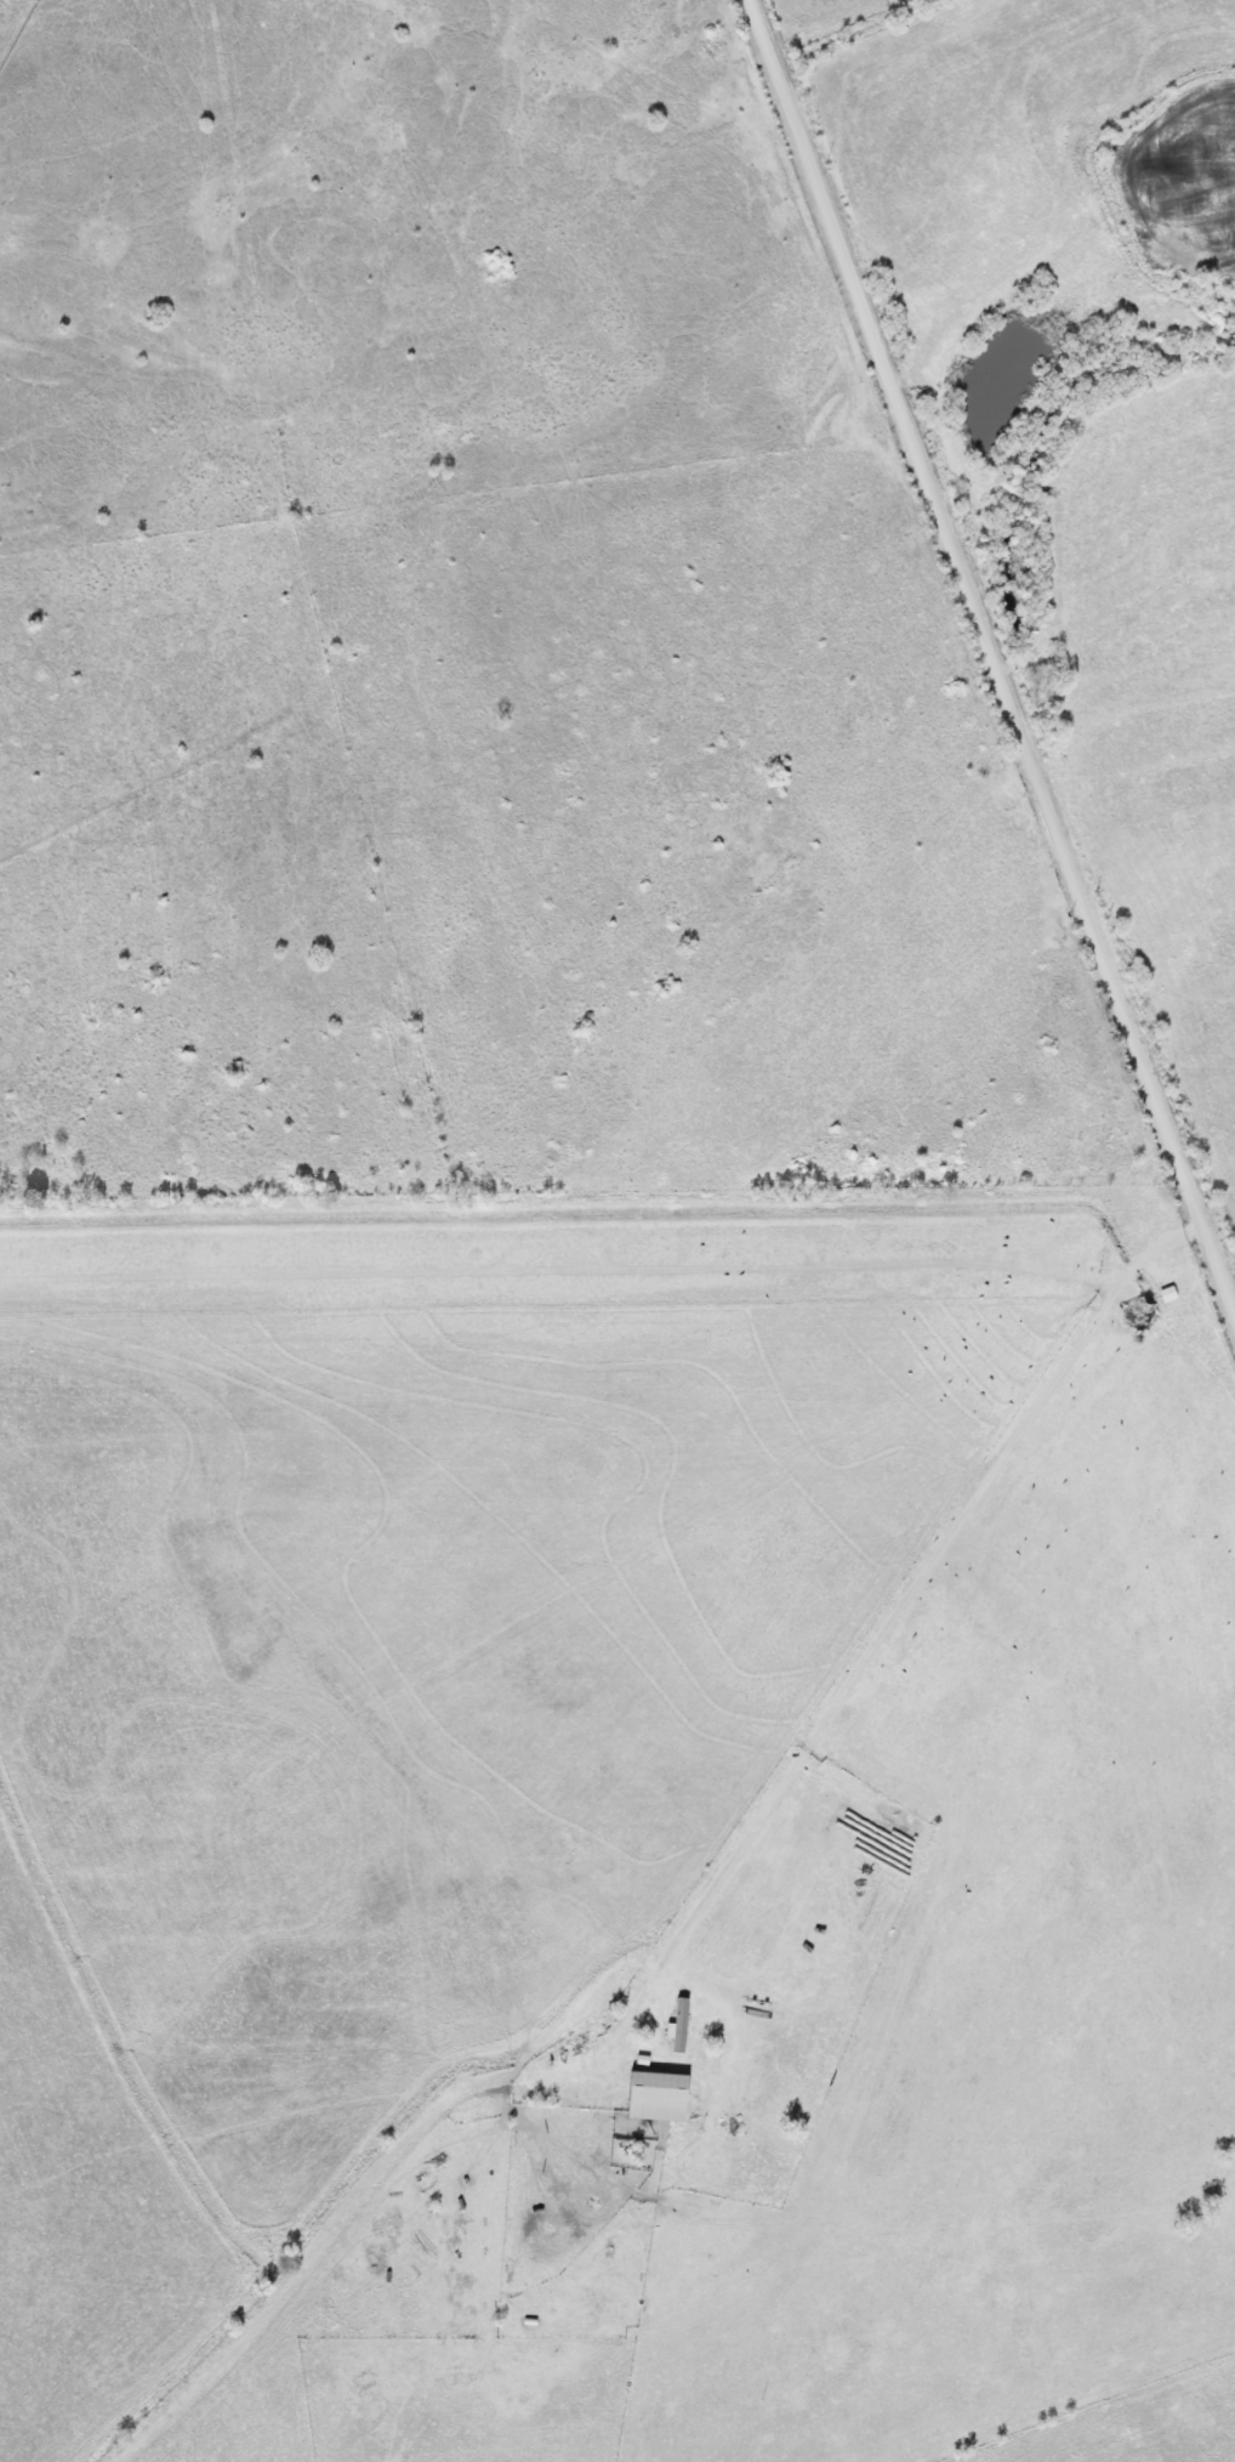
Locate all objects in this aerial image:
road: (989, 663)
road: (910, 1575)
building: (675, 2026)
building: (651, 2094)

